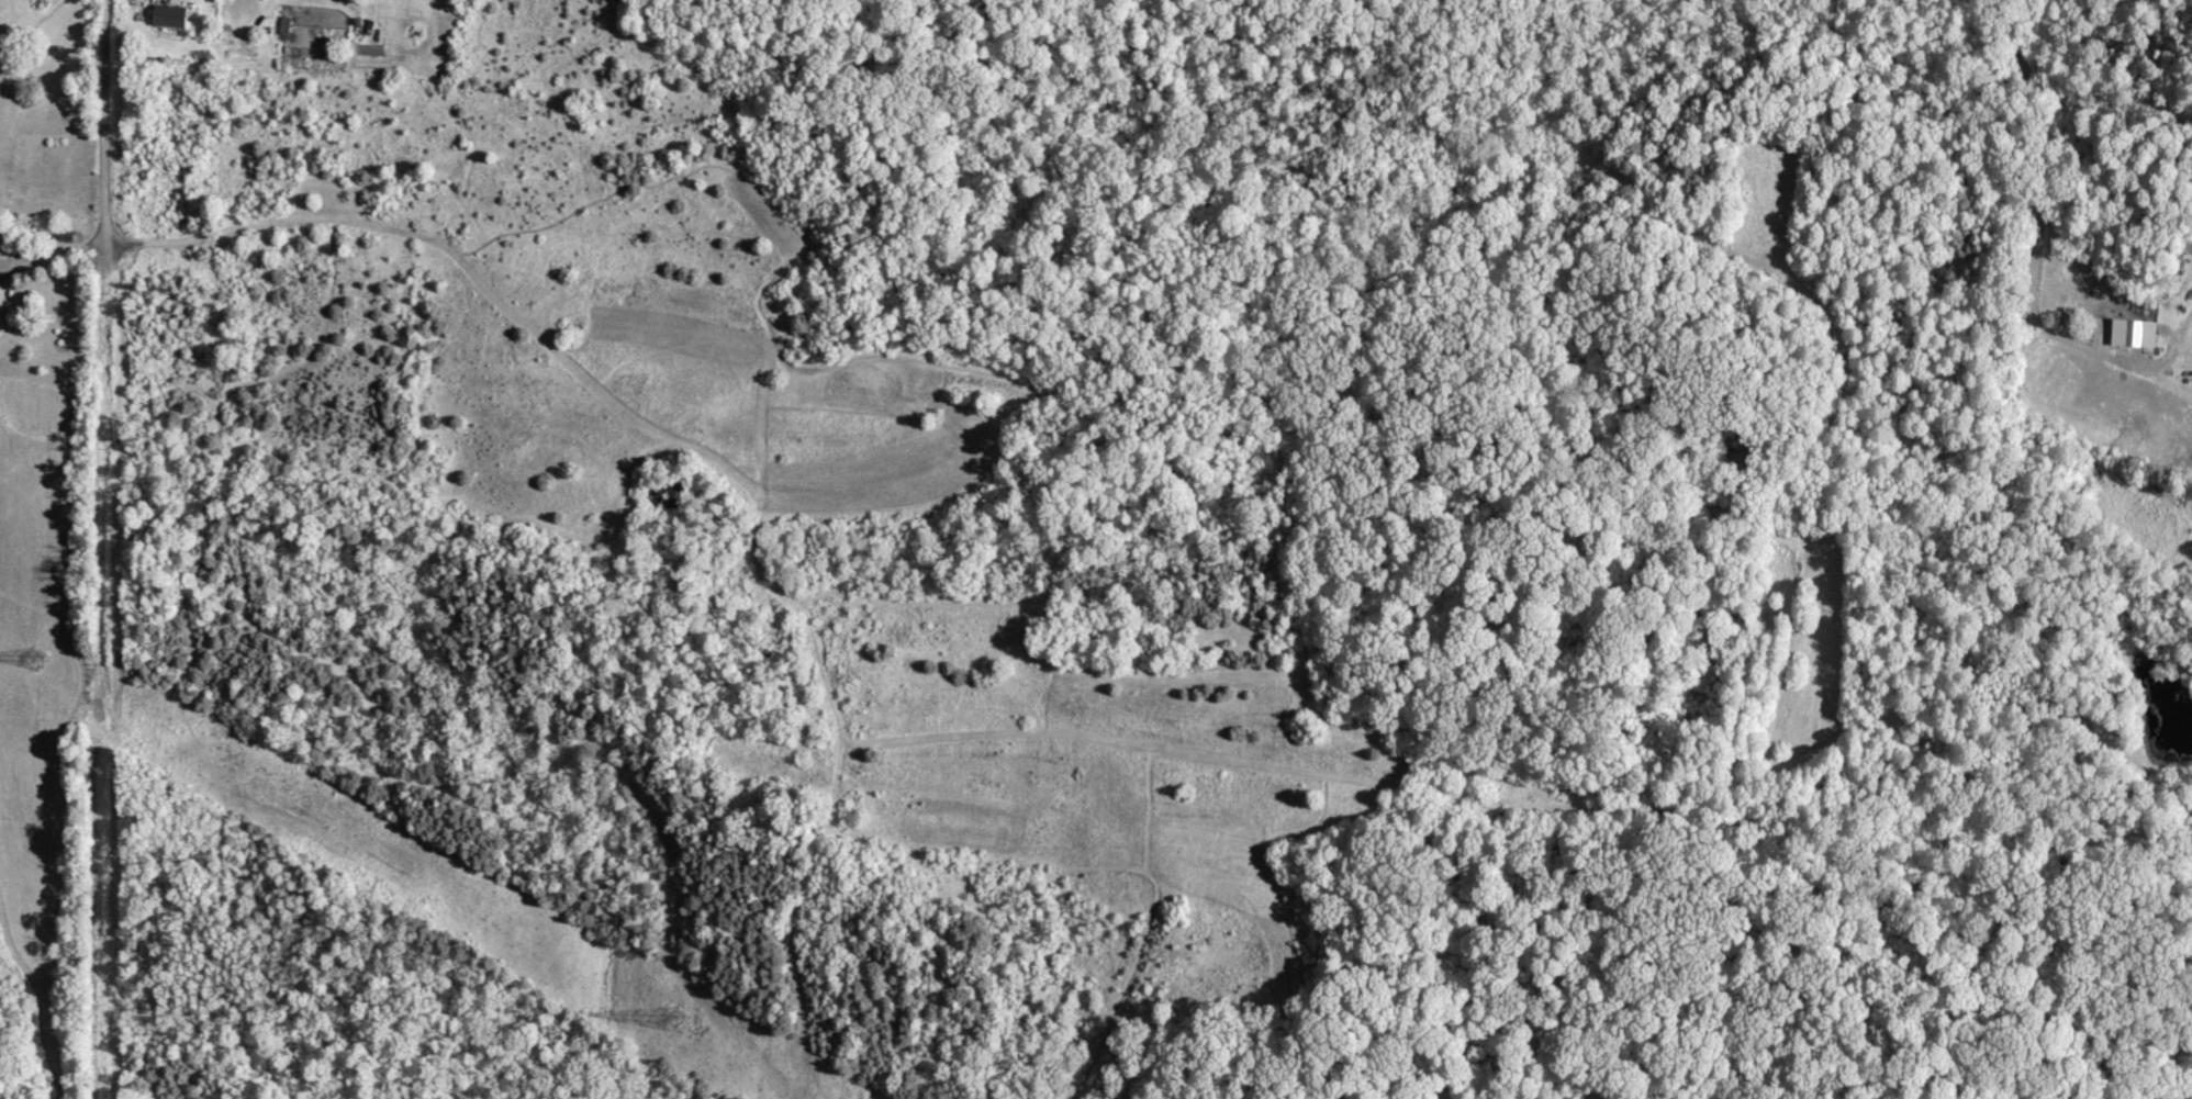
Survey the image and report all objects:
building: (172, 16)
building: (2137, 334)
power tower: (42, 649)
power tower: (696, 1027)

